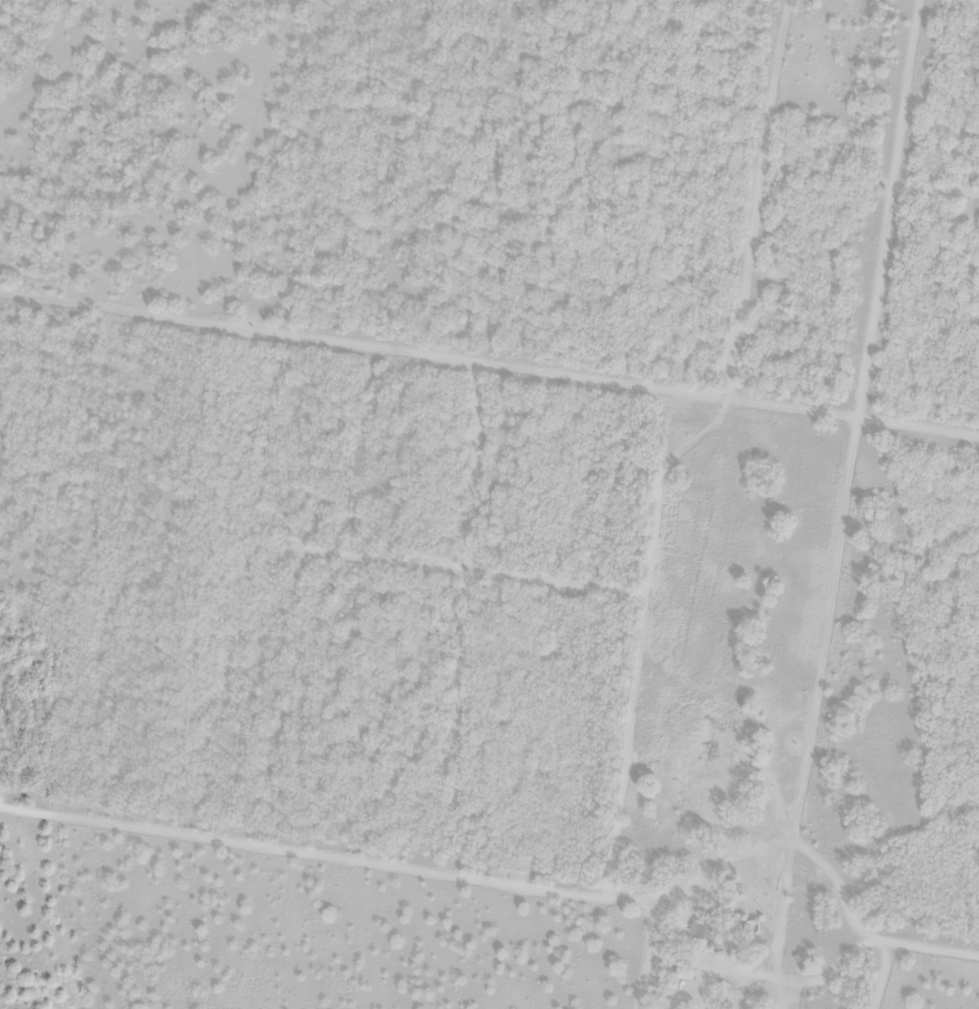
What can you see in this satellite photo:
road: (877, 928)
building: (705, 930)
building: (684, 974)

